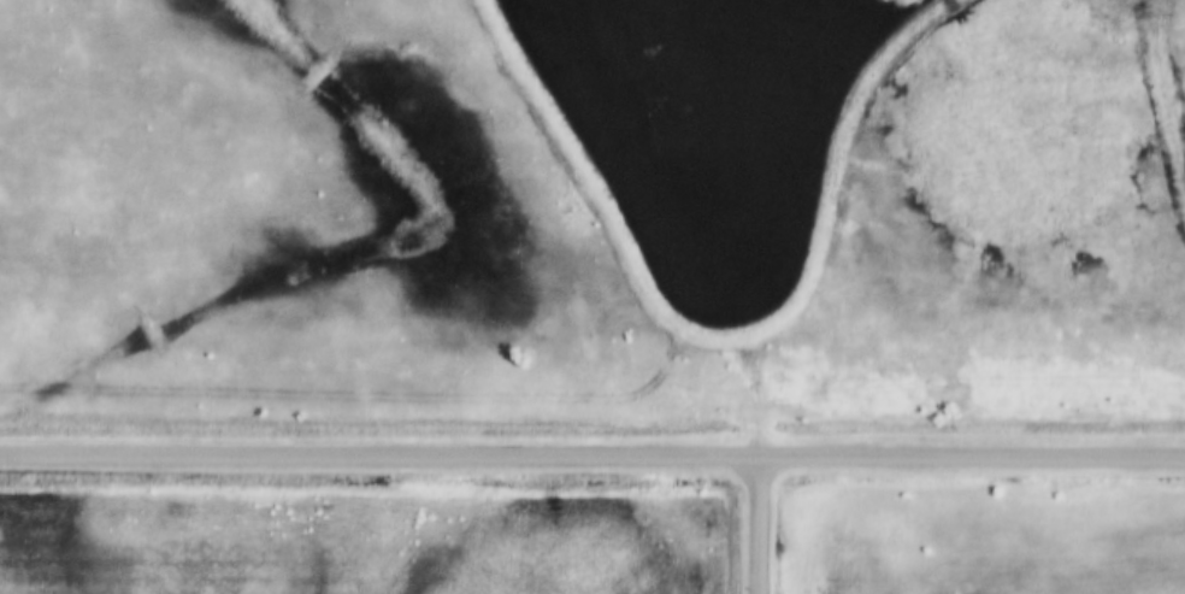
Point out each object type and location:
road: (591, 457)
road: (762, 525)

